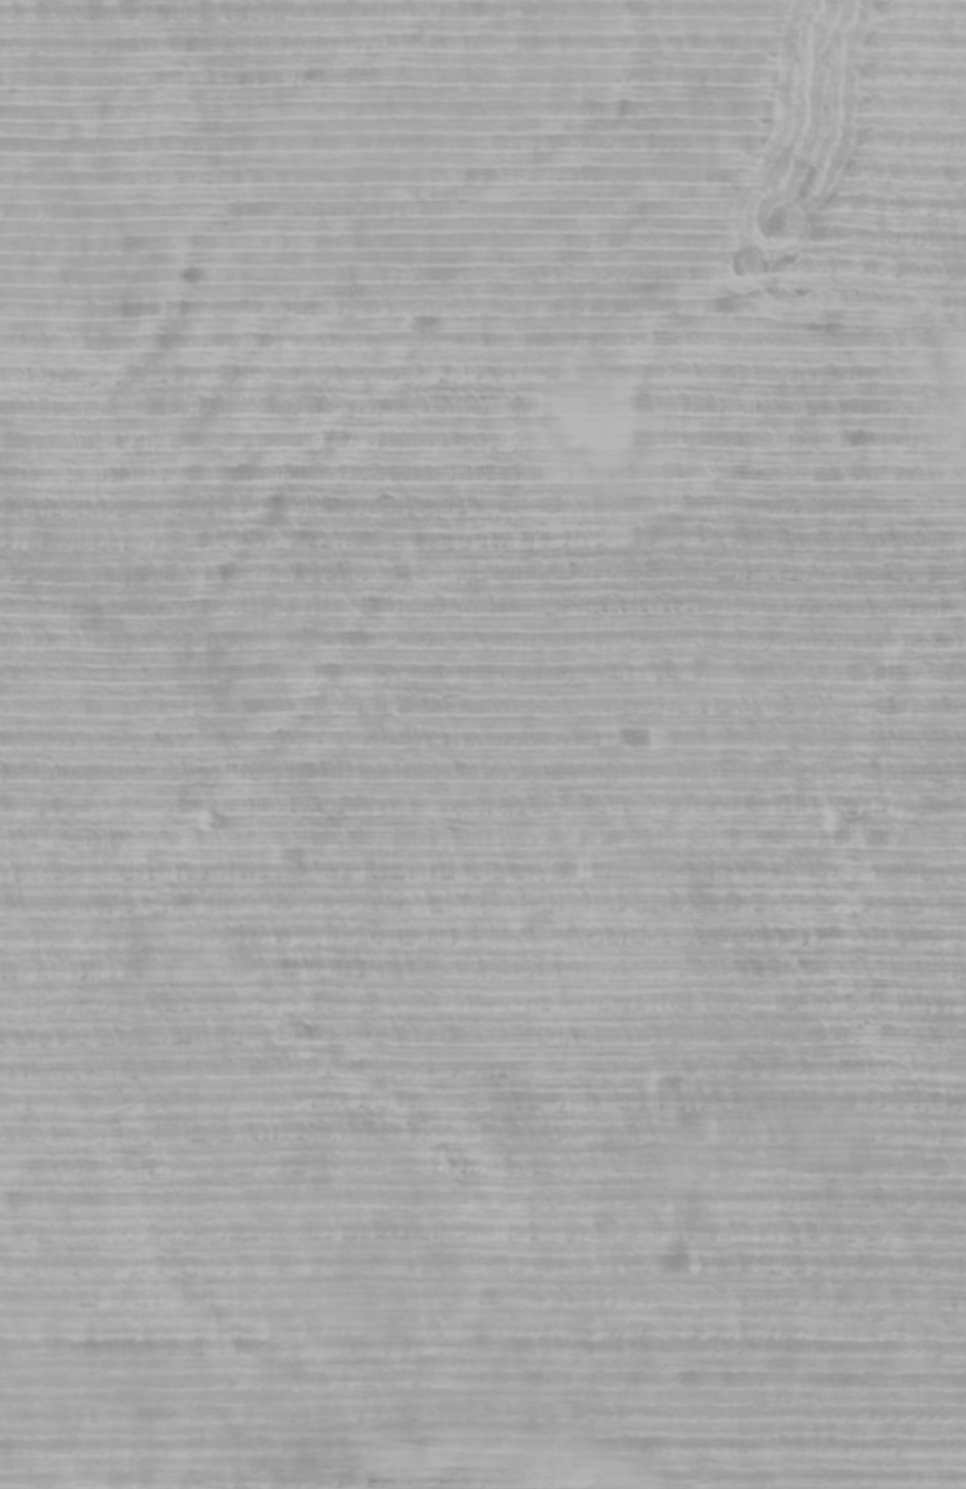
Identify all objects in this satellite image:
crop: (483, 744)

